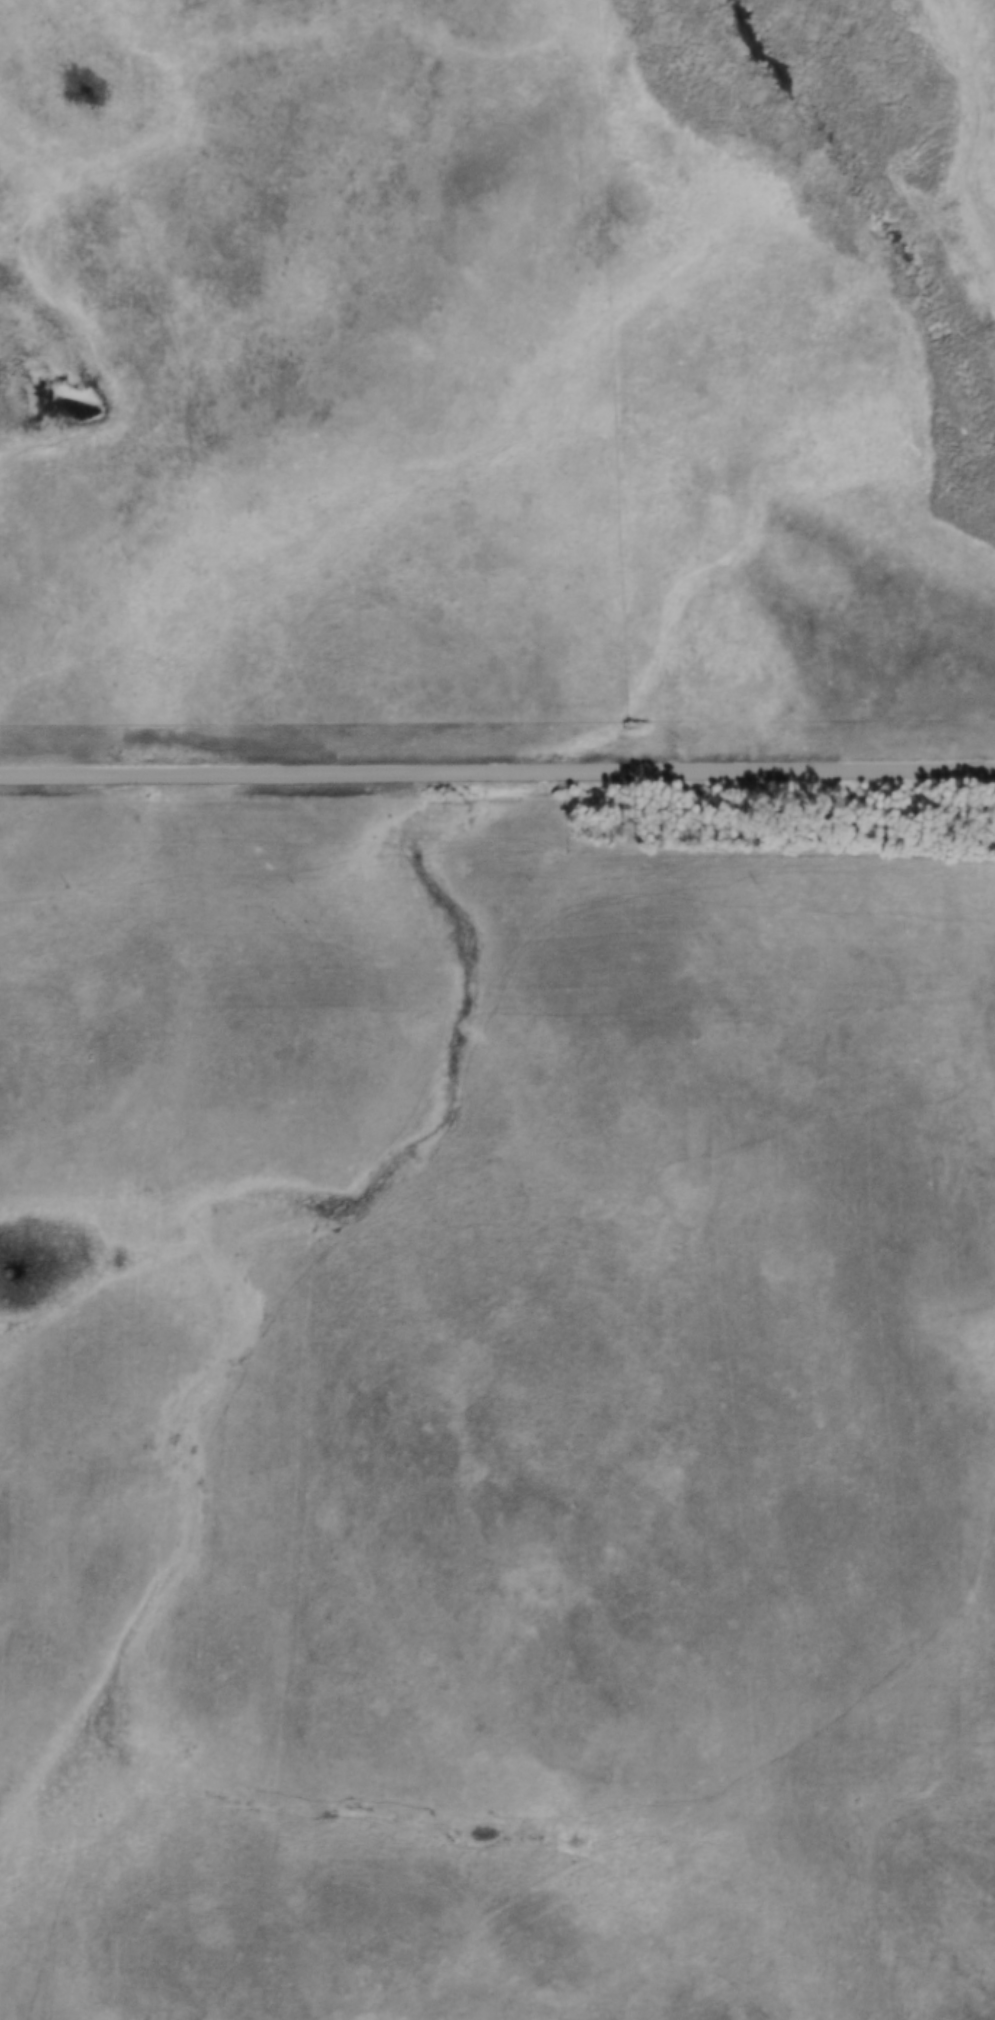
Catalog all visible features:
road: (497, 775)

